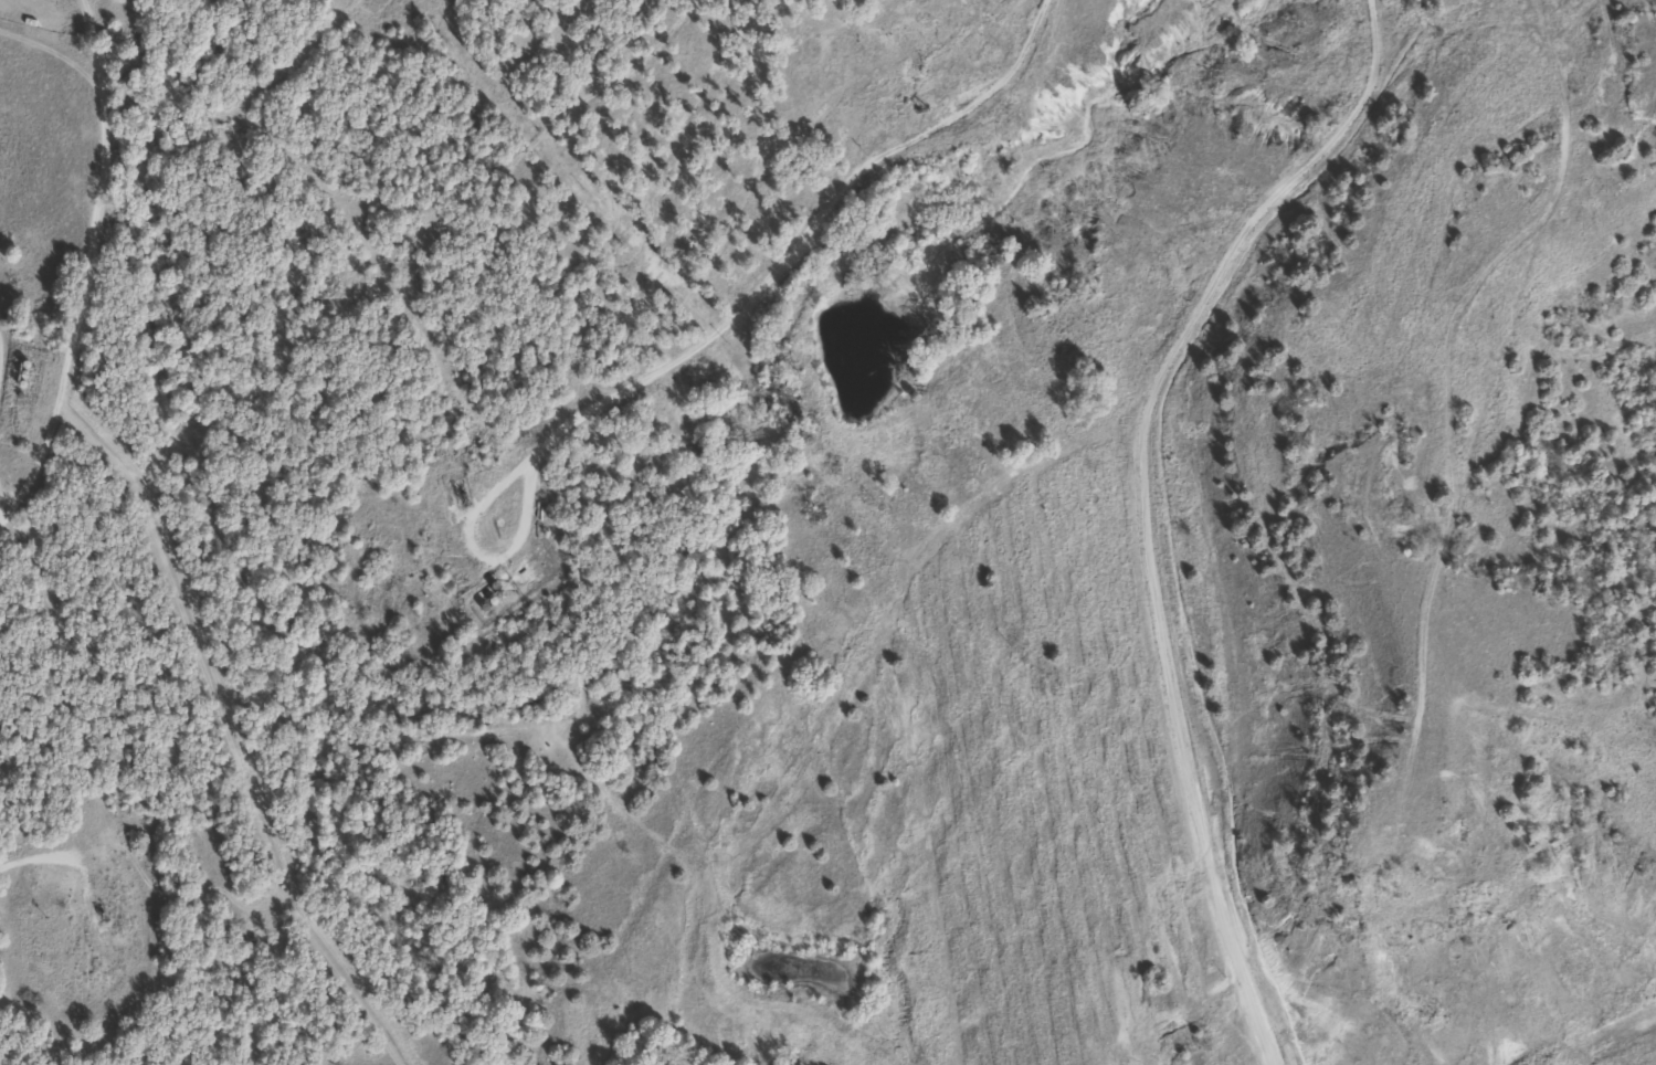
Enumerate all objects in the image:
road: (1158, 471)
road: (49, 474)

